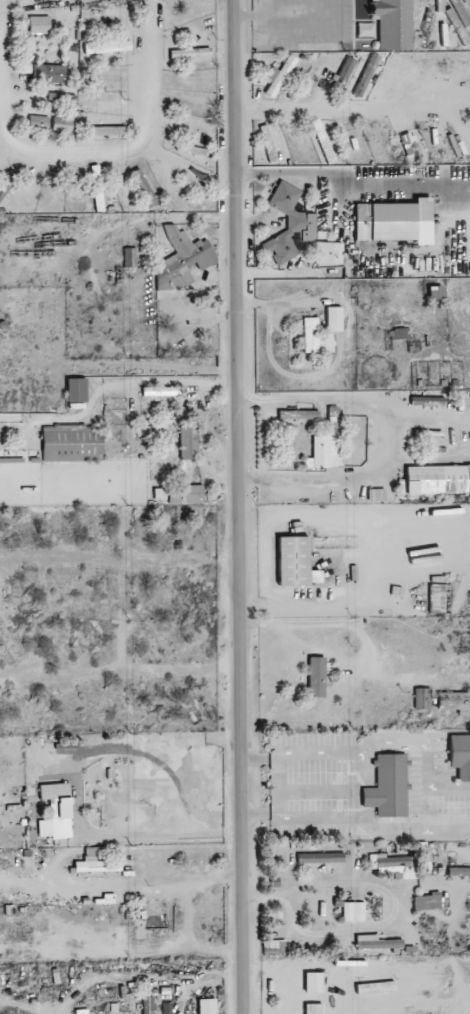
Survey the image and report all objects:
building: (462, 0)
building: (39, 24)
building: (393, 24)
building: (458, 26)
building: (24, 37)
building: (107, 47)
building: (344, 72)
building: (48, 73)
building: (366, 75)
building: (277, 76)
building: (68, 99)
road: (330, 105)
building: (37, 122)
building: (61, 124)
building: (267, 143)
road: (74, 150)
building: (6, 183)
building: (150, 198)
building: (390, 220)
building: (290, 226)
building: (328, 253)
building: (129, 257)
building: (182, 257)
building: (435, 293)
building: (333, 319)
building: (308, 335)
building: (325, 343)
road: (144, 382)
building: (75, 391)
building: (160, 391)
building: (298, 415)
building: (188, 440)
building: (72, 443)
building: (324, 451)
building: (437, 479)
building: (159, 494)
building: (184, 494)
road: (235, 507)
road: (118, 557)
building: (292, 561)
building: (436, 598)
building: (315, 676)
road: (120, 677)
building: (422, 698)
building: (454, 702)
building: (460, 755)
building: (388, 786)
building: (55, 811)
road: (139, 836)
building: (320, 858)
building: (95, 863)
building: (393, 865)
building: (458, 871)
road: (165, 878)
road: (357, 890)
building: (426, 902)
road: (191, 934)
building: (376, 942)
road: (292, 985)
building: (147, 1005)
building: (206, 1006)
building: (313, 1009)

